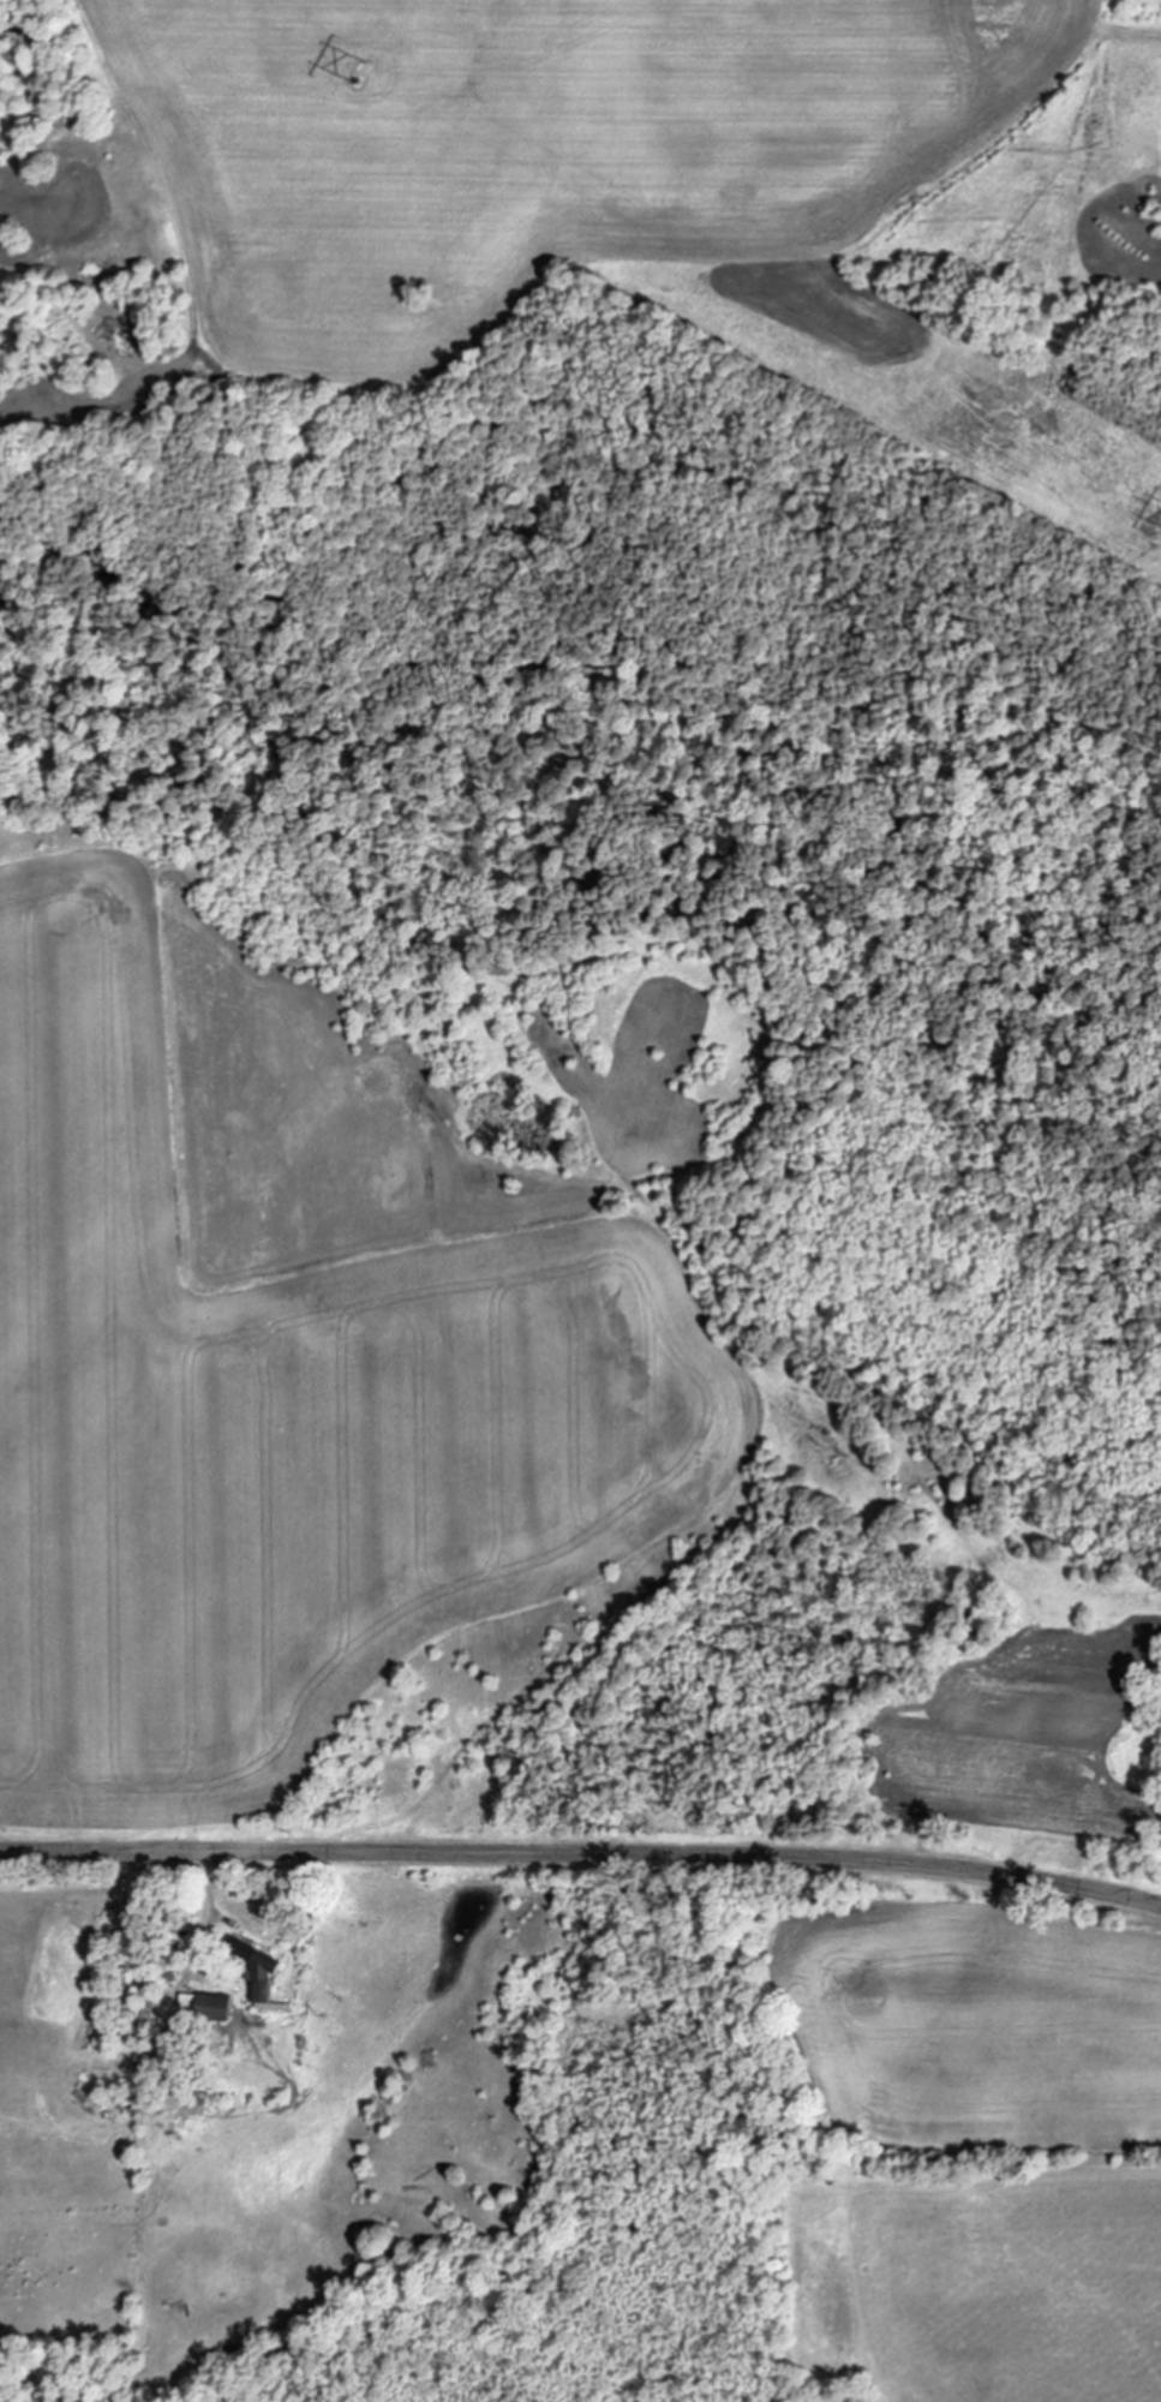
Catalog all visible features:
power tower: (367, 72)
road: (582, 1850)
building: (258, 1967)

